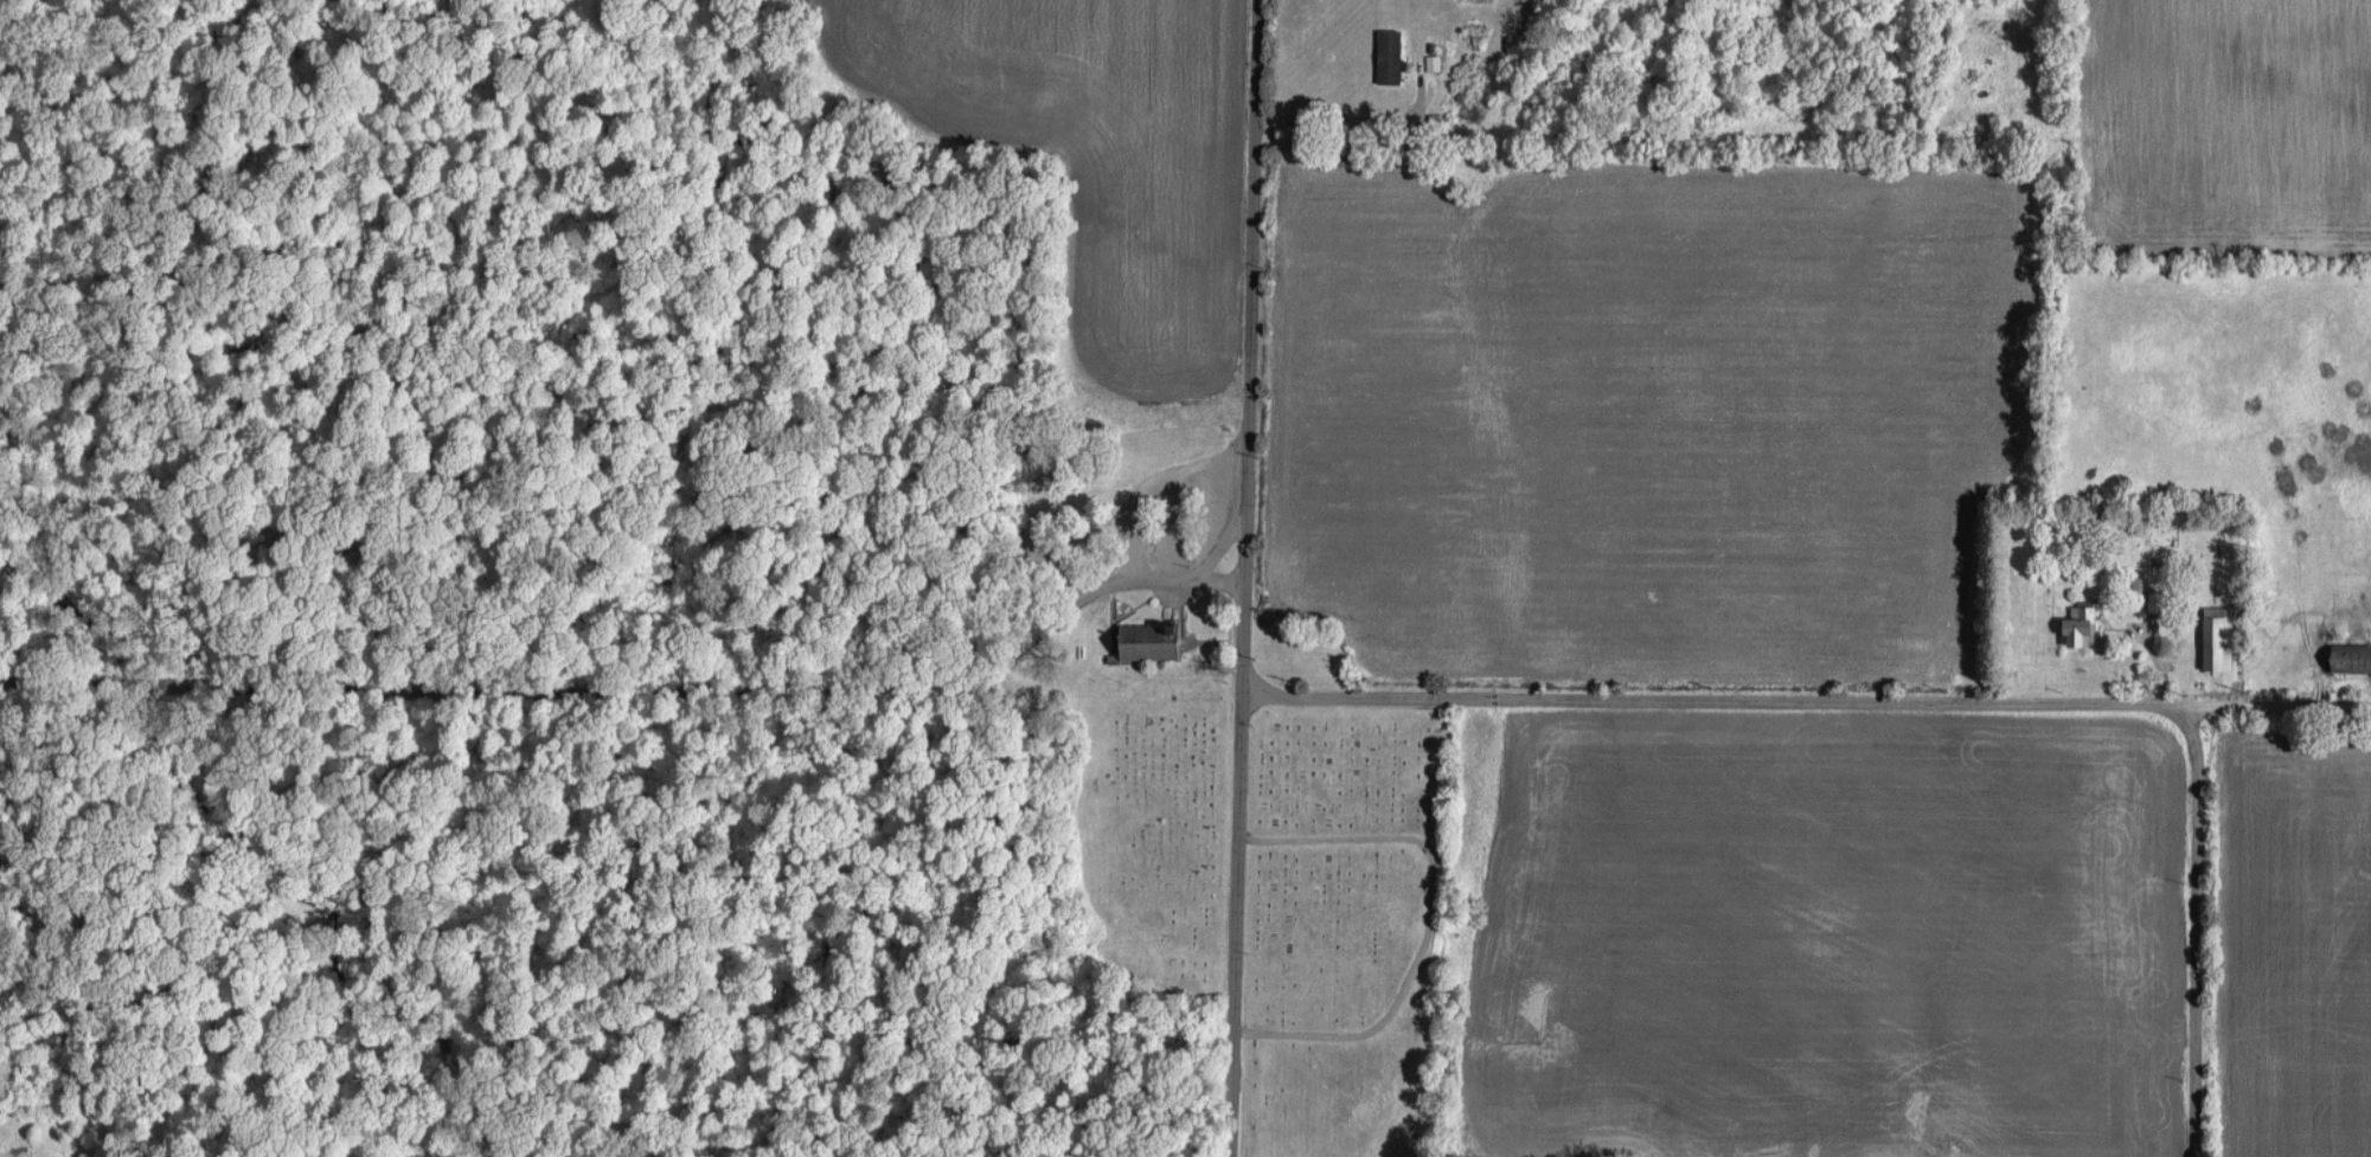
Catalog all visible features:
building: (1391, 56)
building: (1434, 63)
road: (1326, 117)
road: (1156, 481)
road: (1122, 573)
road: (1243, 578)
building: (2082, 623)
building: (1151, 639)
building: (2219, 642)
building: (2352, 656)
road: (1184, 675)
road: (2196, 927)
road: (1363, 1028)

